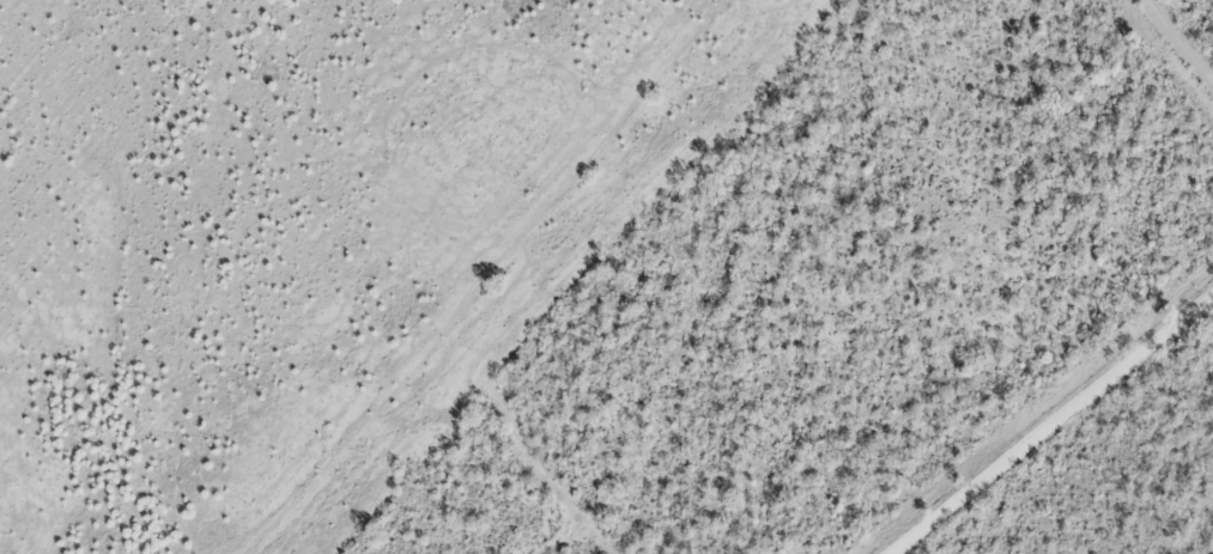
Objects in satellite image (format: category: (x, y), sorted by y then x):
road: (1051, 422)

